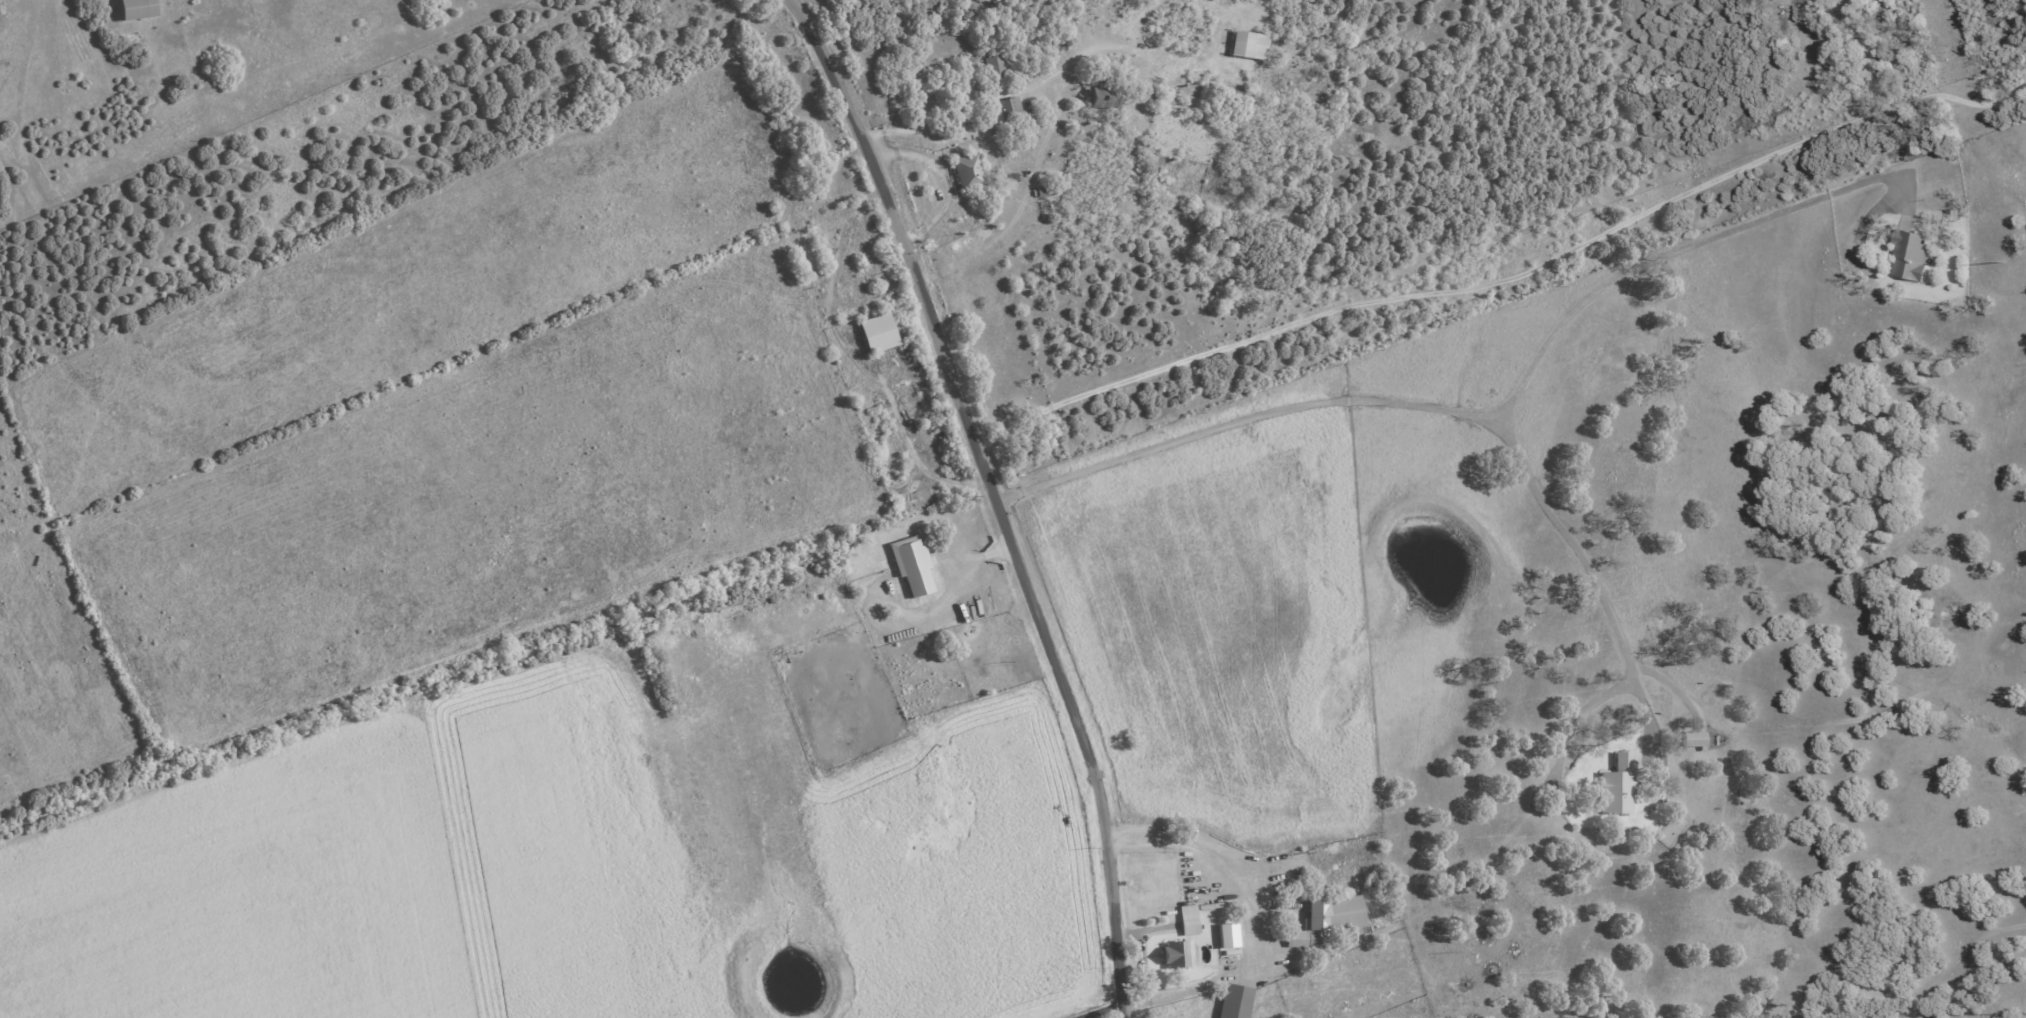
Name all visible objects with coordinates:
building: (137, 9)
building: (1247, 45)
building: (994, 66)
building: (1102, 98)
building: (1005, 112)
building: (967, 172)
building: (1910, 255)
power tower: (2004, 261)
road: (1510, 283)
building: (876, 333)
road: (1487, 420)
road: (994, 497)
road: (1580, 558)
building: (911, 565)
building: (1692, 740)
building: (1617, 787)
road: (1253, 913)
building: (1187, 920)
building: (1323, 921)
building: (1227, 936)
building: (1176, 954)
building: (1234, 1002)
road: (1087, 1005)

